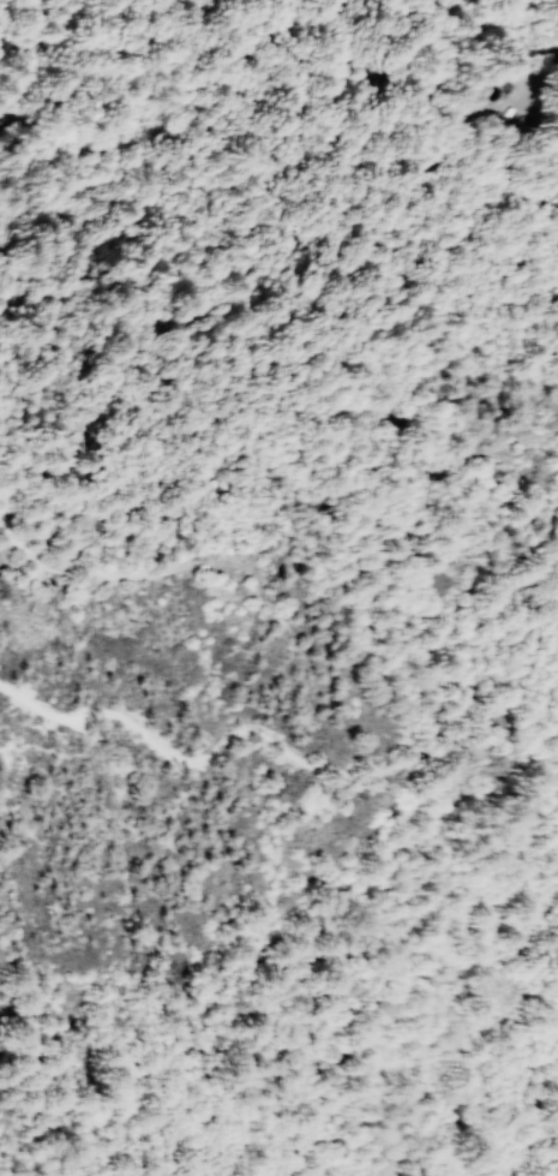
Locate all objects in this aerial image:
road: (532, 8)
road: (270, 428)
building: (88, 526)
building: (226, 541)
road: (529, 545)
road: (115, 574)
water tower: (50, 581)
building: (444, 581)
water tower: (41, 583)
building: (36, 607)
building: (493, 721)
road: (343, 775)
road: (492, 1096)

